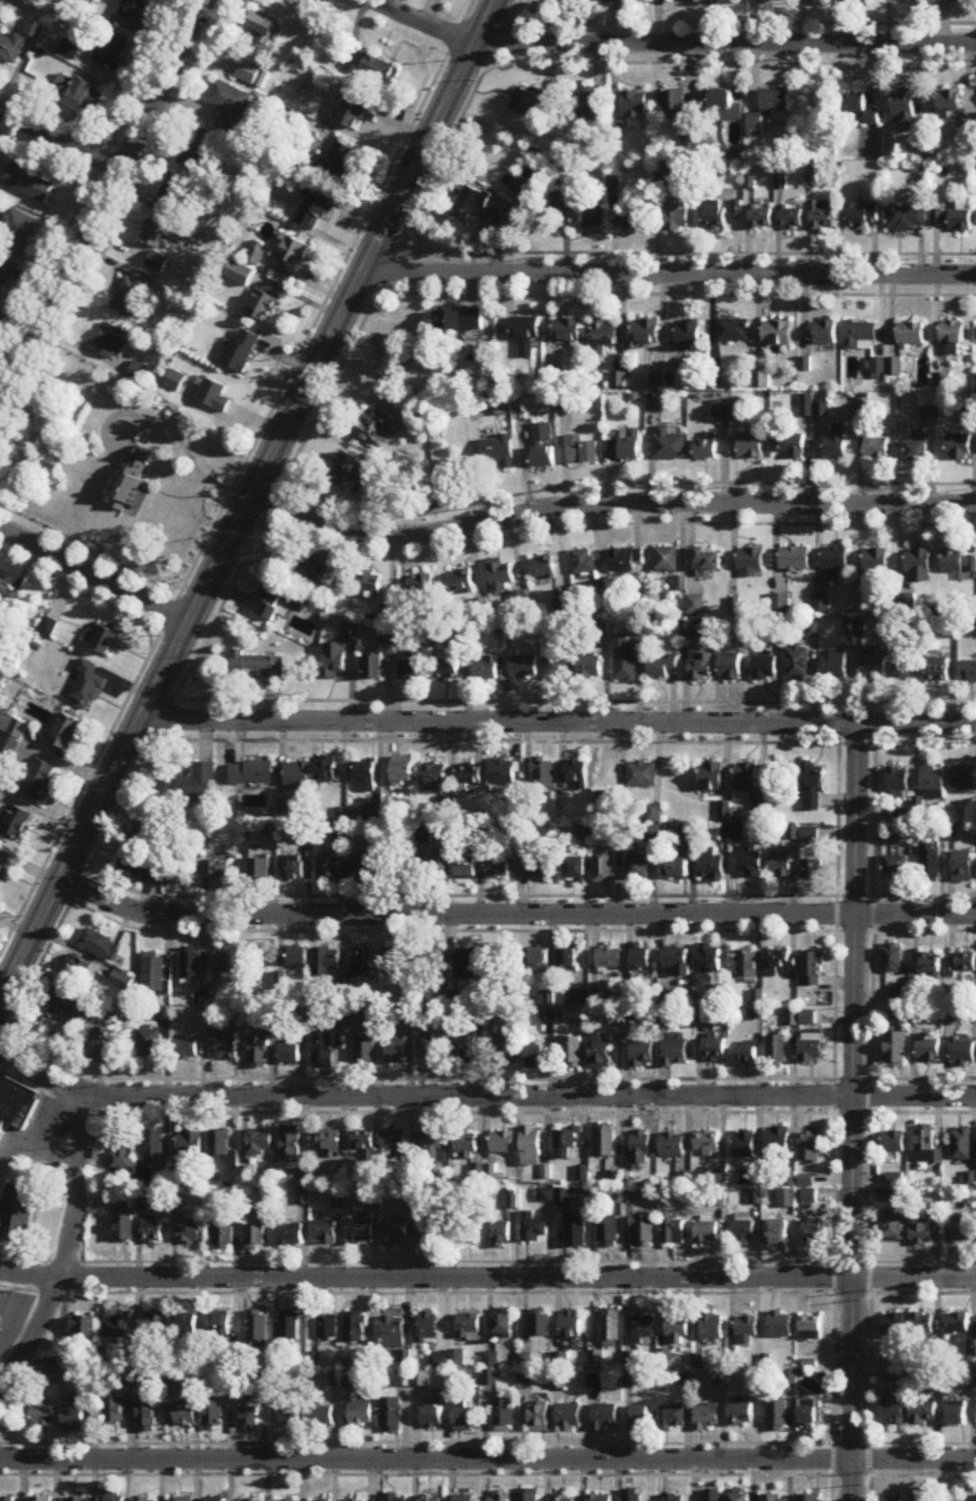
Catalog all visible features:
building: (606, 1)
building: (134, 15)
road: (742, 20)
building: (261, 27)
building: (34, 30)
road: (671, 40)
building: (12, 49)
building: (70, 50)
building: (109, 50)
road: (725, 61)
building: (377, 68)
building: (248, 72)
building: (77, 94)
building: (530, 100)
building: (774, 101)
building: (950, 101)
building: (674, 102)
building: (583, 104)
building: (229, 105)
building: (634, 105)
building: (725, 106)
building: (861, 108)
building: (905, 109)
building: (357, 112)
road: (60, 141)
building: (197, 150)
building: (340, 160)
building: (667, 169)
building: (523, 183)
building: (28, 184)
building: (170, 197)
building: (485, 203)
road: (101, 209)
building: (580, 211)
building: (822, 215)
building: (630, 216)
building: (722, 216)
building: (676, 217)
building: (761, 218)
building: (953, 218)
building: (791, 219)
building: (863, 219)
building: (906, 219)
building: (15, 234)
building: (157, 236)
road: (418, 239)
road: (684, 251)
building: (293, 253)
building: (157, 263)
road: (669, 271)
building: (4, 273)
building: (240, 274)
road: (676, 292)
building: (131, 293)
building: (262, 305)
building: (460, 320)
building: (567, 331)
building: (733, 331)
building: (645, 332)
building: (825, 333)
building: (777, 334)
building: (911, 334)
building: (952, 334)
building: (605, 335)
building: (688, 335)
building: (527, 336)
building: (861, 336)
building: (111, 343)
building: (241, 351)
building: (137, 372)
building: (762, 380)
building: (206, 394)
building: (929, 415)
building: (375, 429)
building: (542, 433)
building: (670, 444)
building: (625, 446)
building: (790, 446)
building: (835, 446)
building: (750, 447)
building: (706, 448)
building: (959, 448)
road: (186, 449)
building: (877, 449)
building: (582, 451)
building: (498, 452)
building: (917, 452)
building: (543, 457)
building: (349, 474)
road: (236, 476)
road: (618, 481)
building: (133, 482)
road: (247, 498)
road: (608, 503)
road: (261, 522)
road: (610, 522)
building: (625, 560)
building: (666, 560)
building: (794, 560)
building: (707, 561)
building: (584, 562)
building: (751, 562)
building: (834, 562)
building: (918, 562)
building: (958, 563)
building: (877, 564)
building: (543, 568)
road: (94, 574)
building: (500, 575)
building: (461, 583)
building: (369, 584)
building: (3, 586)
building: (421, 587)
building: (274, 602)
building: (781, 603)
building: (101, 639)
building: (335, 662)
building: (626, 663)
building: (798, 664)
building: (836, 664)
building: (875, 665)
building: (411, 666)
building: (524, 666)
building: (700, 666)
building: (730, 666)
building: (257, 667)
building: (590, 667)
building: (662, 667)
building: (765, 668)
building: (374, 669)
building: (486, 669)
building: (557, 669)
building: (447, 670)
building: (938, 670)
building: (909, 671)
building: (969, 672)
road: (197, 684)
building: (87, 686)
road: (574, 699)
road: (558, 719)
building: (65, 733)
road: (563, 739)
building: (327, 769)
building: (403, 772)
building: (252, 773)
building: (297, 773)
building: (503, 773)
building: (544, 774)
building: (573, 774)
building: (643, 774)
building: (366, 776)
building: (469, 777)
building: (711, 777)
building: (747, 777)
building: (435, 778)
building: (38, 779)
building: (964, 779)
building: (899, 783)
building: (933, 783)
building: (193, 786)
building: (813, 787)
building: (372, 814)
building: (16, 824)
building: (584, 832)
building: (146, 833)
building: (339, 833)
building: (516, 833)
building: (687, 833)
building: (734, 833)
building: (794, 833)
building: (809, 835)
building: (898, 860)
building: (751, 863)
building: (782, 863)
building: (932, 863)
building: (438, 865)
building: (676, 865)
building: (712, 865)
building: (638, 867)
building: (964, 867)
building: (260, 868)
building: (330, 868)
building: (364, 868)
building: (467, 868)
building: (502, 868)
building: (539, 868)
building: (575, 868)
building: (215, 869)
building: (294, 869)
building: (603, 869)
building: (141, 870)
building: (814, 871)
building: (2, 872)
road: (528, 893)
road: (514, 913)
road: (468, 928)
road: (924, 929)
building: (100, 945)
building: (297, 958)
building: (610, 959)
building: (710, 959)
building: (893, 959)
building: (642, 960)
building: (395, 961)
building: (435, 962)
building: (539, 962)
building: (568, 962)
building: (678, 962)
building: (326, 963)
building: (224, 964)
building: (363, 964)
building: (963, 964)
building: (467, 965)
building: (748, 965)
building: (932, 965)
building: (191, 966)
building: (779, 967)
building: (814, 969)
building: (84, 971)
building: (154, 973)
building: (123, 980)
building: (579, 999)
building: (67, 1000)
building: (548, 1007)
building: (477, 1014)
building: (667, 1017)
building: (356, 1018)
building: (809, 1018)
building: (150, 1043)
building: (226, 1044)
building: (813, 1046)
building: (186, 1047)
building: (433, 1047)
building: (465, 1047)
building: (95, 1048)
building: (715, 1048)
building: (930, 1049)
building: (506, 1050)
building: (897, 1050)
building: (323, 1051)
building: (778, 1051)
building: (258, 1052)
building: (366, 1052)
building: (601, 1052)
building: (964, 1052)
building: (676, 1053)
building: (573, 1054)
building: (643, 1054)
building: (290, 1055)
building: (396, 1055)
building: (748, 1055)
building: (536, 1058)
road: (431, 1076)
road: (924, 1077)
road: (482, 1096)
road: (834, 1100)
road: (868, 1100)
building: (17, 1105)
road: (429, 1110)
road: (852, 1111)
road: (923, 1111)
road: (39, 1138)
building: (362, 1141)
building: (326, 1142)
building: (606, 1142)
building: (258, 1143)
building: (502, 1143)
building: (709, 1143)
building: (779, 1143)
building: (895, 1143)
building: (189, 1144)
building: (219, 1144)
building: (290, 1144)
building: (394, 1144)
building: (746, 1145)
building: (927, 1145)
building: (963, 1145)
building: (153, 1146)
building: (432, 1146)
building: (465, 1146)
building: (566, 1146)
building: (674, 1146)
building: (531, 1148)
building: (642, 1149)
building: (122, 1150)
building: (811, 1150)
building: (614, 1180)
building: (808, 1181)
building: (545, 1196)
building: (304, 1197)
building: (811, 1197)
building: (563, 1198)
building: (338, 1199)
building: (787, 1199)
building: (18, 1214)
building: (123, 1223)
building: (893, 1226)
building: (921, 1227)
building: (532, 1229)
building: (433, 1230)
building: (743, 1231)
building: (963, 1231)
building: (152, 1232)
building: (361, 1232)
building: (324, 1233)
building: (609, 1233)
building: (643, 1233)
building: (674, 1233)
building: (813, 1233)
building: (189, 1234)
building: (224, 1234)
building: (254, 1234)
building: (290, 1234)
building: (394, 1234)
building: (468, 1234)
building: (575, 1234)
building: (707, 1234)
building: (501, 1235)
building: (779, 1237)
road: (68, 1245)
road: (923, 1259)
road: (434, 1260)
road: (38, 1275)
road: (487, 1276)
road: (923, 1290)
road: (433, 1292)
road: (8, 1314)
building: (152, 1324)
building: (922, 1324)
building: (957, 1324)
building: (184, 1325)
building: (502, 1325)
building: (468, 1326)
building: (539, 1326)
building: (569, 1326)
building: (780, 1326)
building: (893, 1326)
building: (221, 1327)
building: (291, 1327)
building: (329, 1327)
building: (355, 1327)
building: (428, 1327)
building: (711, 1327)
building: (118, 1328)
building: (677, 1328)
building: (811, 1328)
building: (610, 1329)
building: (258, 1330)
building: (640, 1330)
building: (84, 1331)
building: (746, 1331)
building: (393, 1332)
building: (449, 1359)
building: (316, 1360)
building: (596, 1360)
building: (525, 1361)
building: (560, 1361)
building: (52, 1378)
building: (421, 1379)
building: (968, 1379)
building: (525, 1381)
building: (594, 1381)
building: (115, 1412)
building: (892, 1412)
building: (922, 1412)
building: (44, 1413)
building: (505, 1413)
building: (807, 1413)
building: (361, 1414)
building: (740, 1414)
building: (290, 1415)
building: (323, 1415)
building: (392, 1415)
building: (641, 1415)
building: (956, 1415)
building: (214, 1416)
building: (777, 1416)
building: (147, 1417)
building: (187, 1417)
building: (433, 1417)
building: (568, 1417)
building: (604, 1417)
building: (672, 1417)
building: (706, 1417)
building: (462, 1418)
building: (539, 1418)
building: (75, 1420)
building: (251, 1420)
road: (487, 1442)
road: (487, 1458)
road: (488, 1474)
building: (923, 1494)
building: (712, 1495)
building: (528, 1496)
building: (632, 1496)
building: (395, 1497)
building: (601, 1497)
building: (672, 1497)
building: (739, 1497)
building: (810, 1497)
building: (112, 1498)
building: (431, 1498)
building: (464, 1498)
building: (501, 1498)
building: (563, 1498)
building: (775, 1498)
building: (892, 1498)
building: (8, 1499)
building: (41, 1499)
building: (79, 1499)
building: (145, 1499)
building: (182, 1499)
building: (217, 1499)
building: (252, 1500)
building: (356, 1500)

